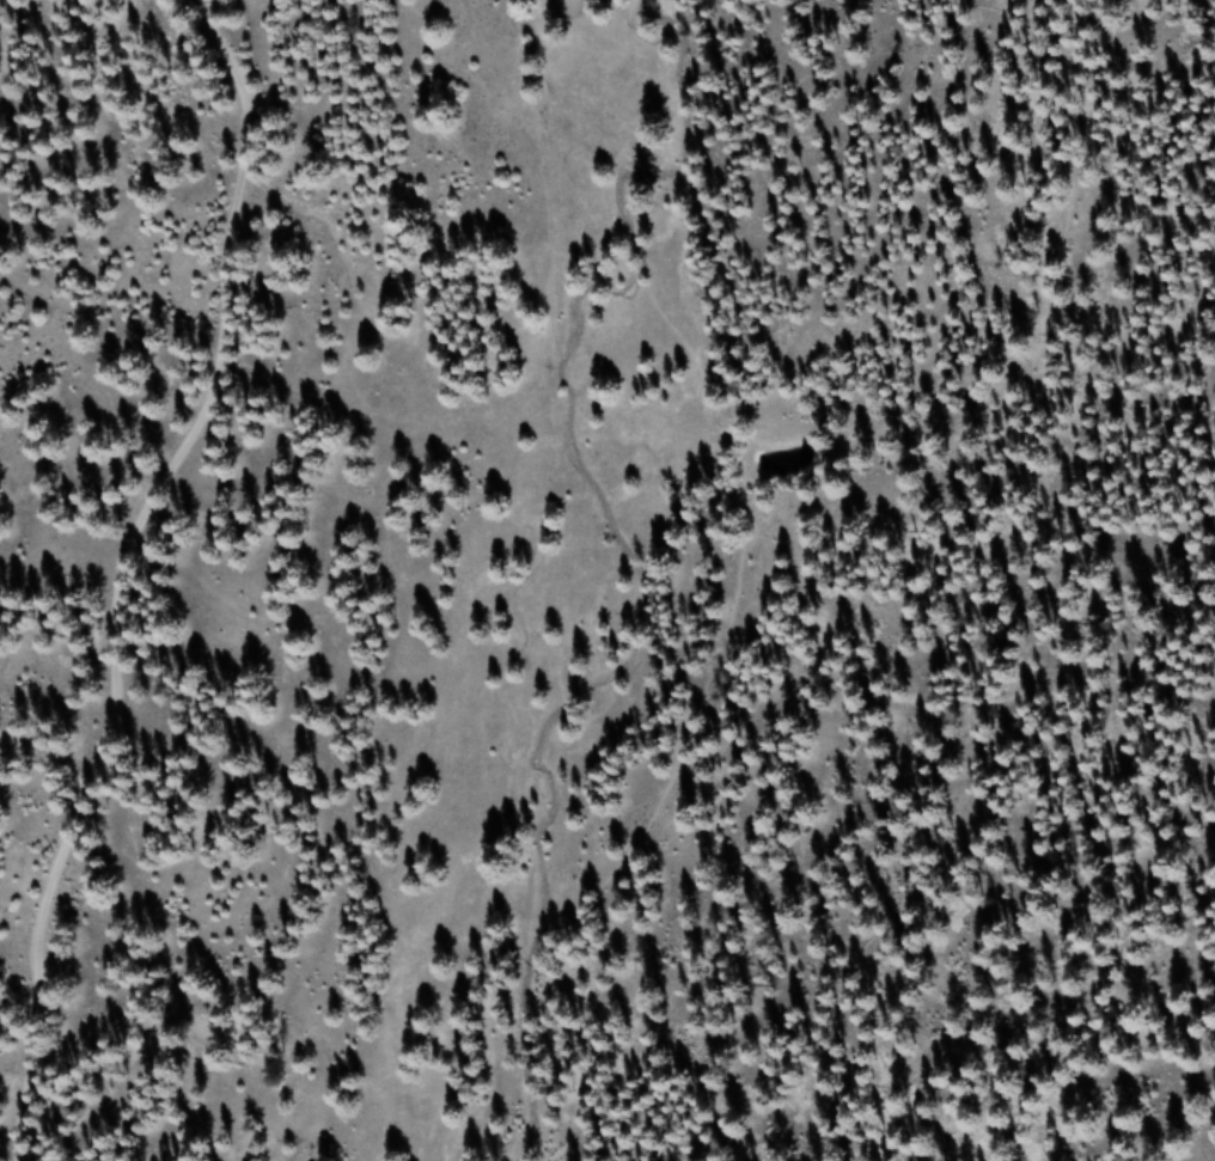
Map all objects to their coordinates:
road: (122, 568)

